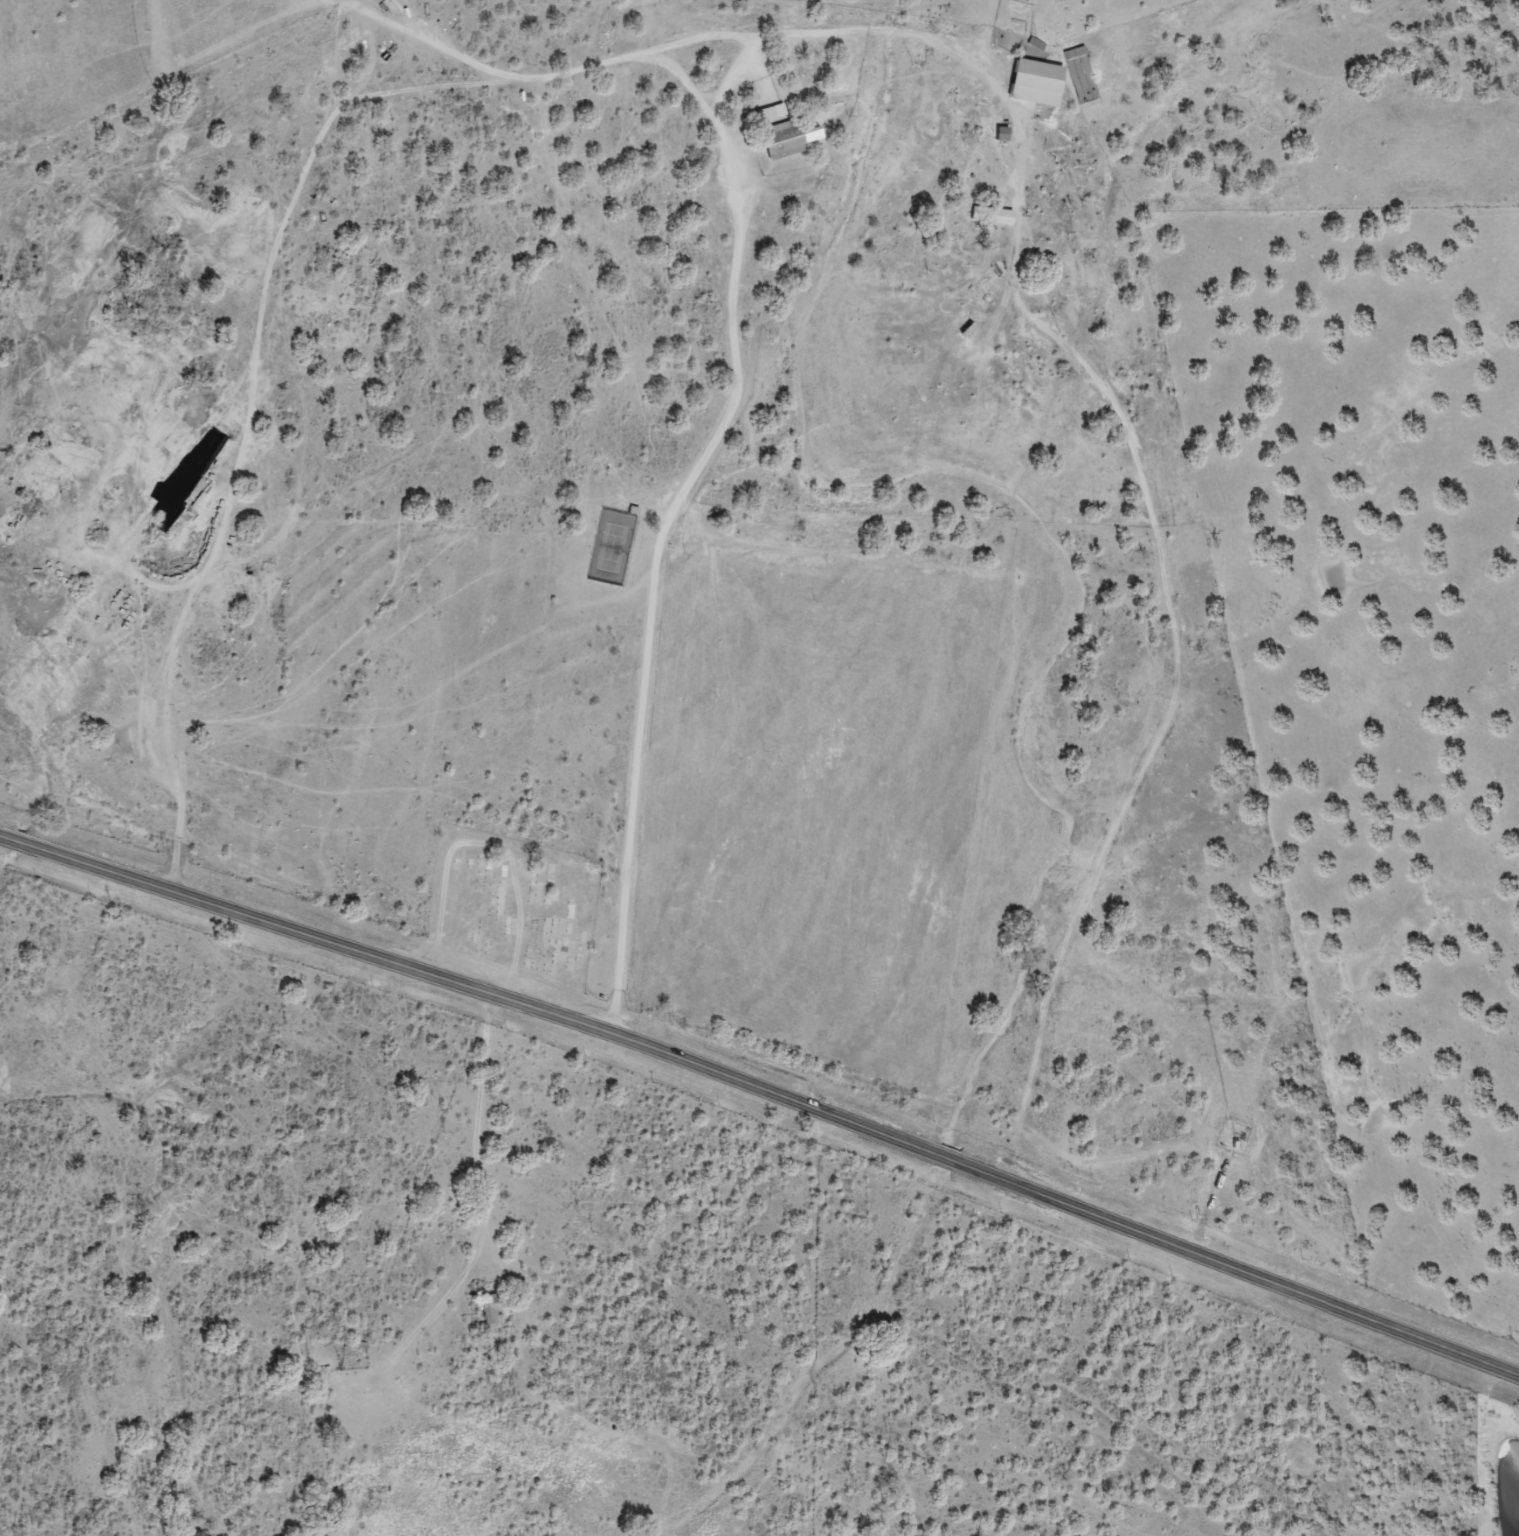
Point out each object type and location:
building: (1072, 56)
road: (816, 77)
building: (1031, 84)
building: (786, 140)
road: (149, 169)
building: (995, 218)
building: (185, 470)
road: (633, 811)
park: (515, 904)
road: (764, 1089)
road: (484, 1131)
building: (492, 1314)

